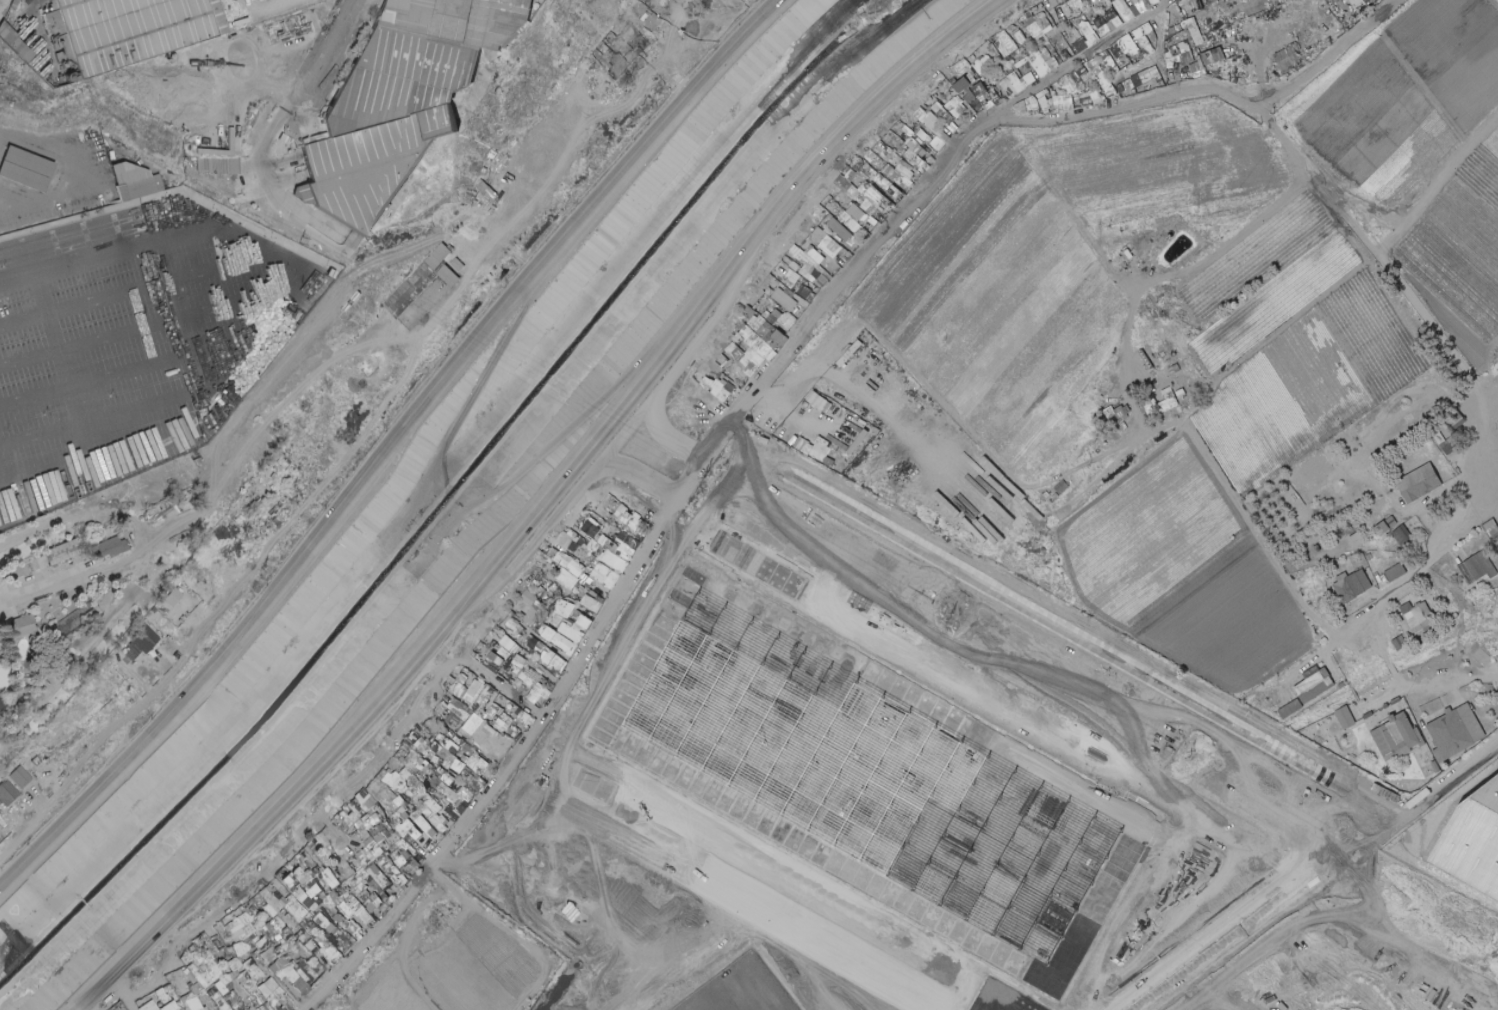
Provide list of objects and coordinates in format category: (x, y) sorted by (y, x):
crop: (1406, 99)
crop: (1464, 240)
crop: (1322, 389)
crop: (1200, 582)
parking lot: (559, 878)
crop: (453, 965)
parking lot: (824, 998)

